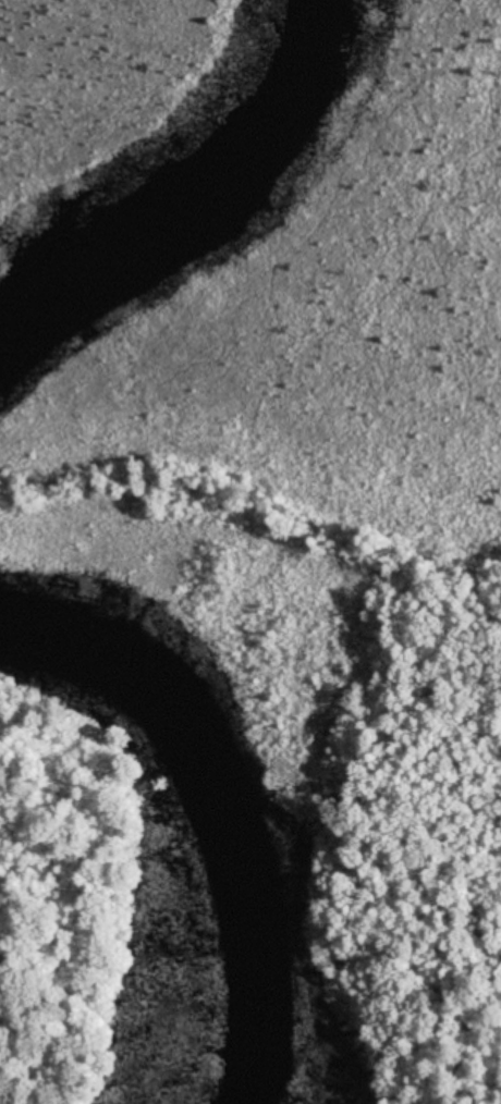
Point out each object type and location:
river: (188, 180)
river: (211, 809)

